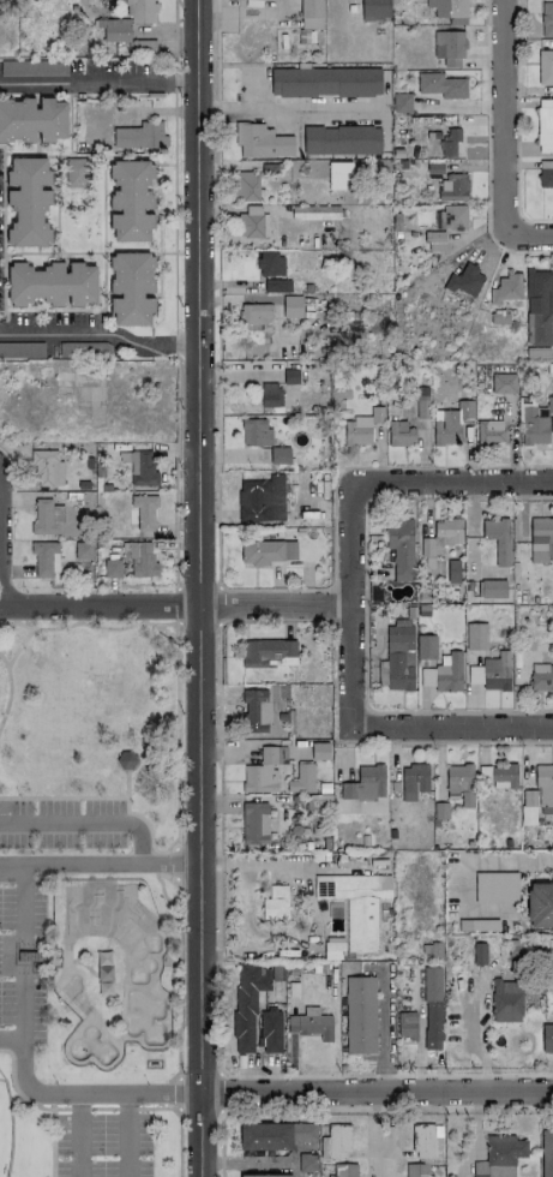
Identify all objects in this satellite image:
building: (270, 0)
building: (447, 8)
building: (374, 10)
building: (311, 14)
building: (127, 20)
building: (547, 20)
building: (140, 47)
building: (449, 48)
building: (545, 67)
building: (325, 82)
road: (98, 83)
building: (441, 85)
building: (402, 103)
road: (287, 106)
road: (504, 108)
road: (486, 113)
building: (32, 120)
road: (516, 125)
building: (545, 126)
building: (140, 136)
building: (341, 141)
building: (262, 142)
building: (450, 143)
building: (546, 165)
building: (338, 174)
building: (546, 178)
building: (246, 187)
building: (453, 187)
building: (130, 201)
building: (28, 202)
building: (314, 213)
building: (252, 222)
building: (445, 226)
road: (523, 235)
road: (513, 251)
building: (270, 264)
building: (464, 281)
building: (50, 285)
building: (277, 286)
building: (132, 289)
building: (505, 289)
road: (217, 299)
building: (291, 307)
building: (539, 310)
building: (256, 316)
road: (100, 334)
building: (536, 353)
building: (503, 383)
building: (270, 394)
building: (549, 405)
building: (421, 406)
building: (451, 424)
building: (361, 428)
building: (533, 428)
building: (489, 431)
building: (256, 432)
building: (399, 434)
building: (279, 455)
building: (47, 468)
building: (140, 468)
road: (338, 470)
road: (393, 482)
building: (262, 500)
building: (143, 512)
building: (46, 518)
building: (440, 538)
building: (497, 539)
building: (540, 539)
building: (401, 548)
building: (83, 550)
building: (266, 551)
road: (0, 557)
building: (44, 557)
building: (144, 561)
building: (112, 568)
building: (452, 572)
road: (198, 587)
building: (492, 588)
road: (217, 603)
road: (175, 604)
road: (174, 607)
building: (475, 637)
building: (426, 647)
building: (268, 652)
building: (399, 658)
building: (495, 671)
building: (449, 674)
building: (474, 675)
building: (427, 677)
building: (541, 677)
building: (258, 709)
road: (176, 719)
road: (393, 727)
building: (319, 751)
building: (272, 754)
building: (125, 760)
building: (498, 777)
building: (301, 778)
building: (259, 779)
building: (414, 781)
building: (461, 783)
building: (365, 784)
building: (537, 796)
road: (115, 819)
building: (254, 823)
road: (176, 832)
road: (218, 847)
road: (487, 860)
road: (174, 864)
road: (71, 866)
building: (495, 888)
road: (161, 890)
park: (86, 901)
building: (276, 903)
building: (355, 904)
building: (540, 904)
road: (307, 907)
building: (333, 949)
road: (7, 951)
building: (479, 954)
road: (175, 962)
park: (110, 972)
building: (506, 1000)
building: (247, 1003)
building: (432, 1008)
building: (360, 1015)
building: (311, 1023)
building: (407, 1024)
building: (270, 1032)
road: (384, 1032)
building: (547, 1039)
road: (178, 1050)
road: (221, 1091)
road: (176, 1092)
road: (375, 1092)
road: (17, 1093)
road: (78, 1094)
road: (101, 1107)
road: (76, 1109)
road: (125, 1109)
road: (156, 1109)
road: (386, 1111)
park: (6, 1129)
building: (302, 1133)
road: (375, 1134)
road: (78, 1135)
road: (124, 1135)
building: (264, 1136)
road: (180, 1142)
building: (335, 1142)
road: (221, 1143)
building: (426, 1143)
building: (546, 1153)
building: (500, 1157)
building: (307, 1163)
building: (343, 1170)
building: (268, 1176)

